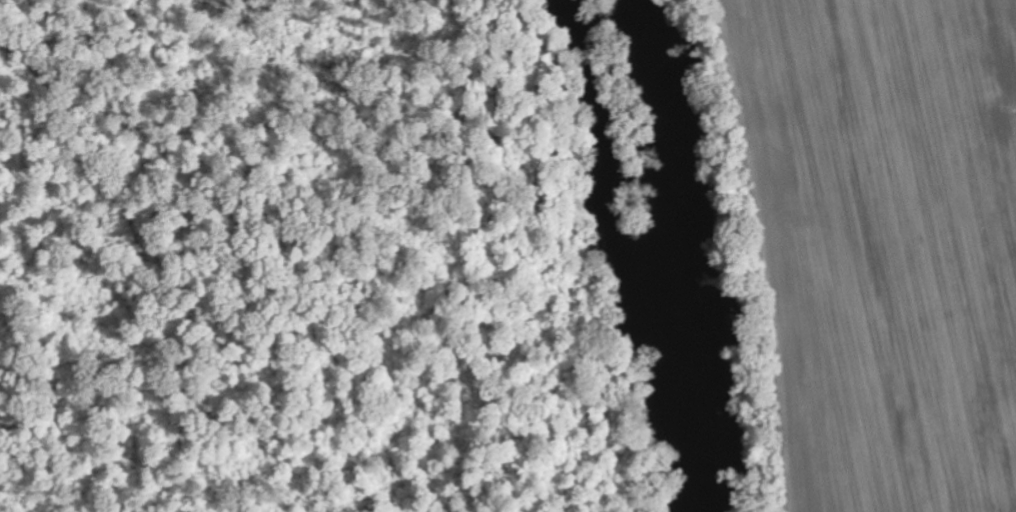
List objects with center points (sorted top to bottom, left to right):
river: (648, 255)

